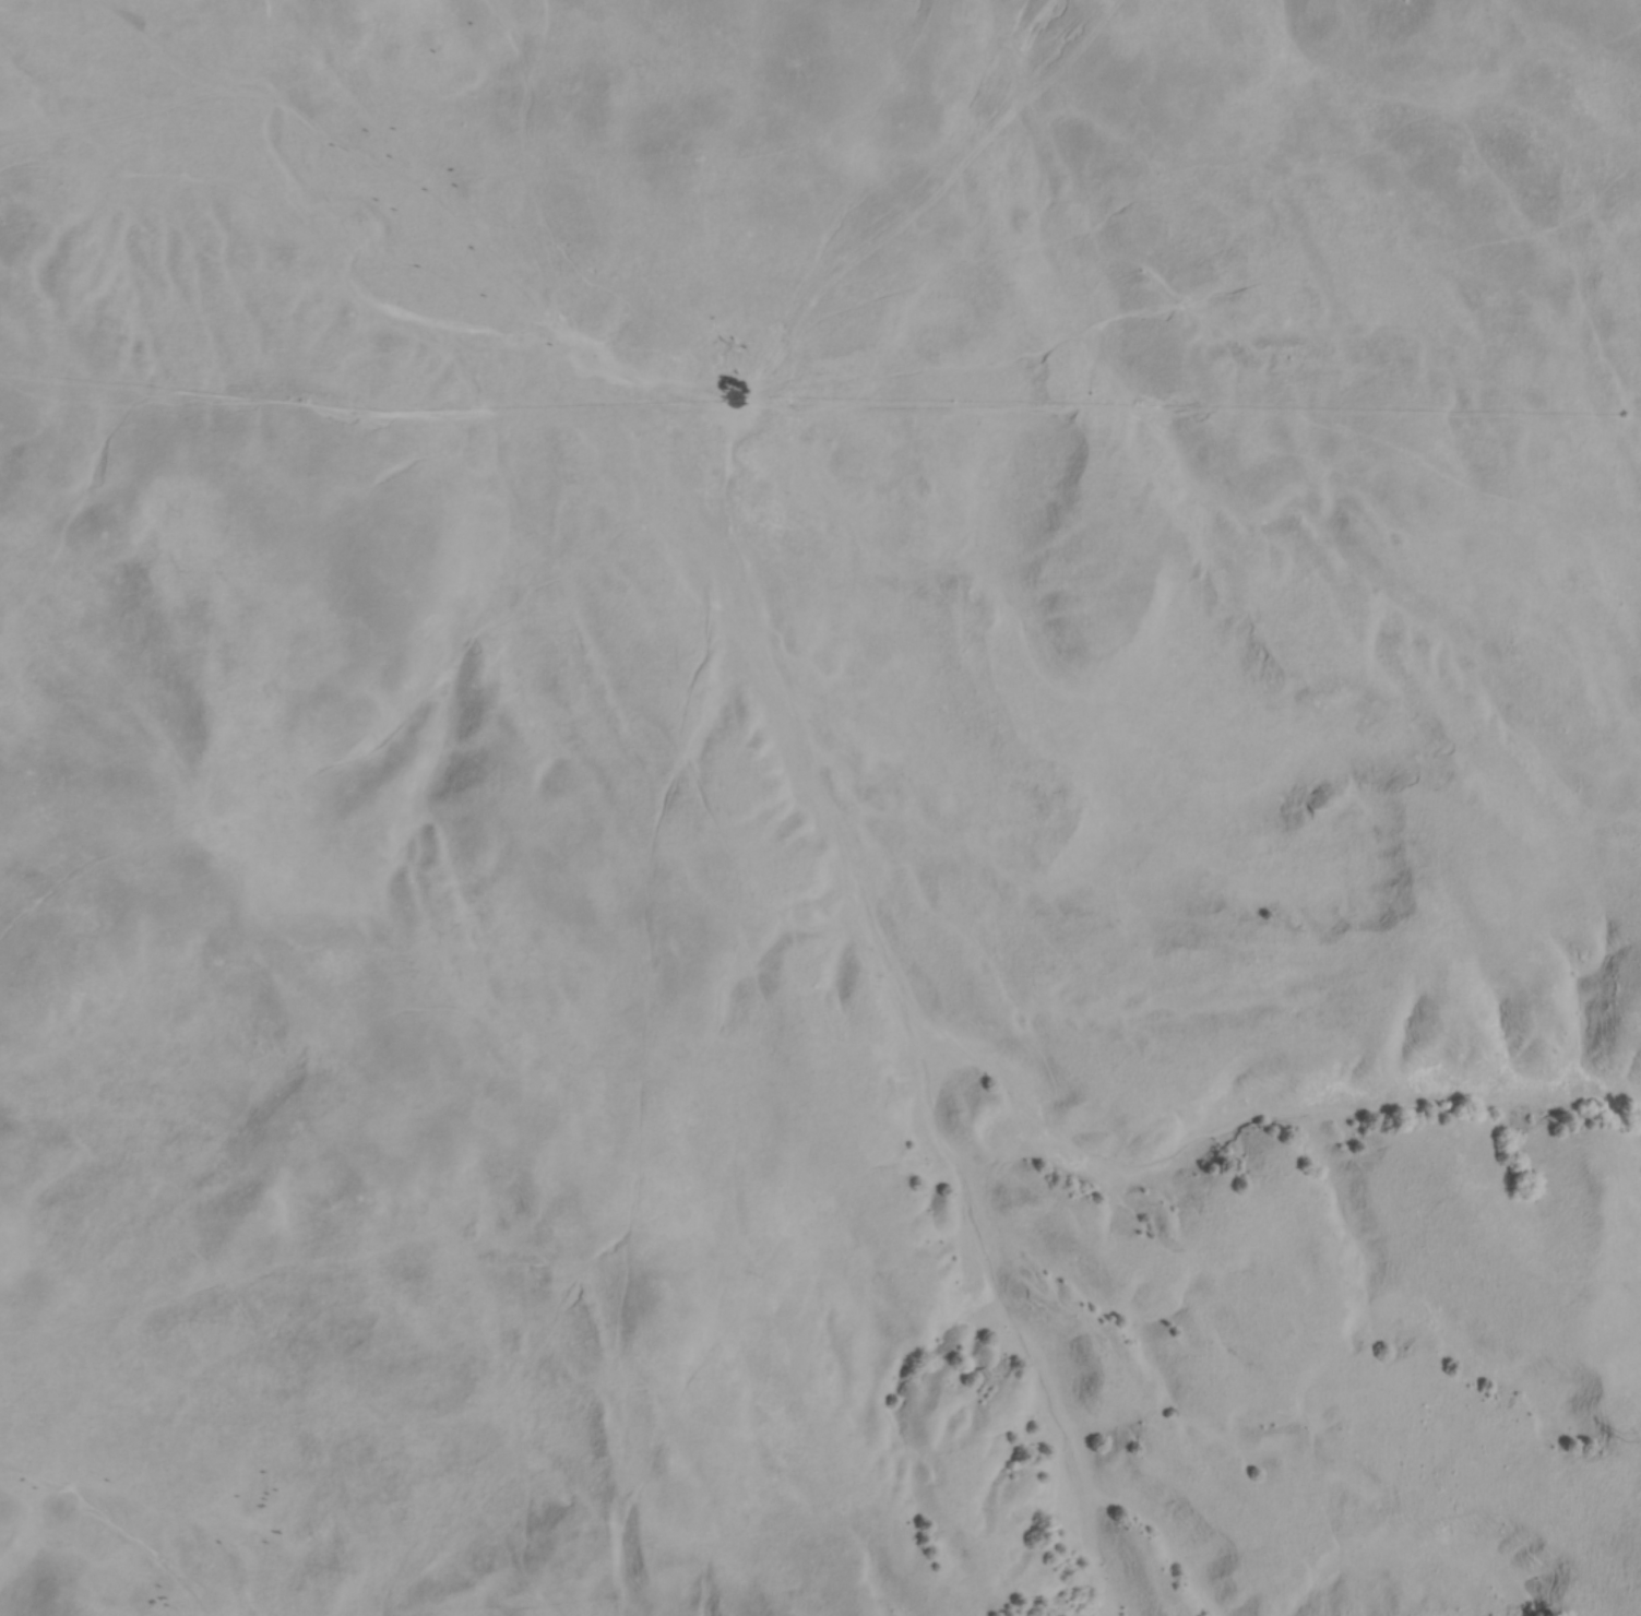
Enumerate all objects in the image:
power tower: (1624, 1441)

